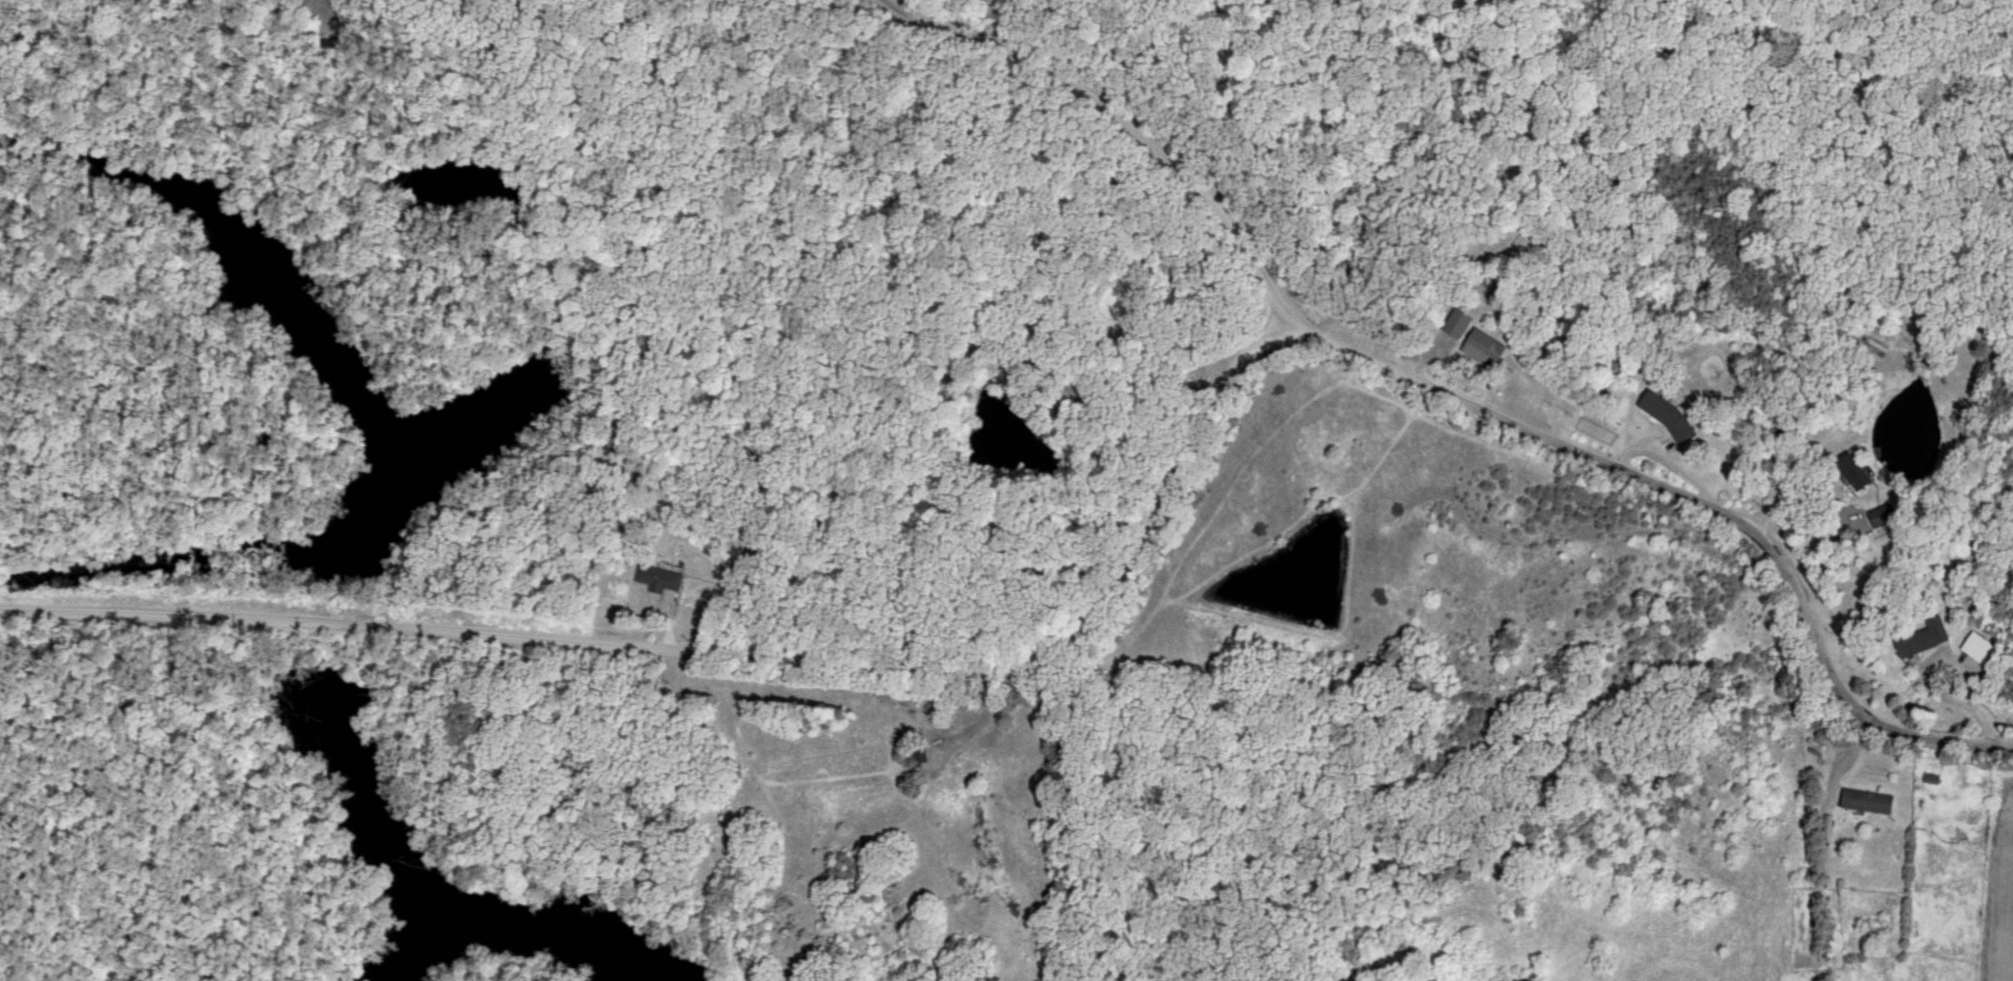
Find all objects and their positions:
building: (1458, 323)
building: (1486, 346)
road: (1450, 395)
building: (1668, 417)
building: (1855, 472)
building: (1883, 516)
building: (655, 578)
building: (1924, 638)
building: (1979, 648)
road: (732, 649)
building: (1868, 801)

